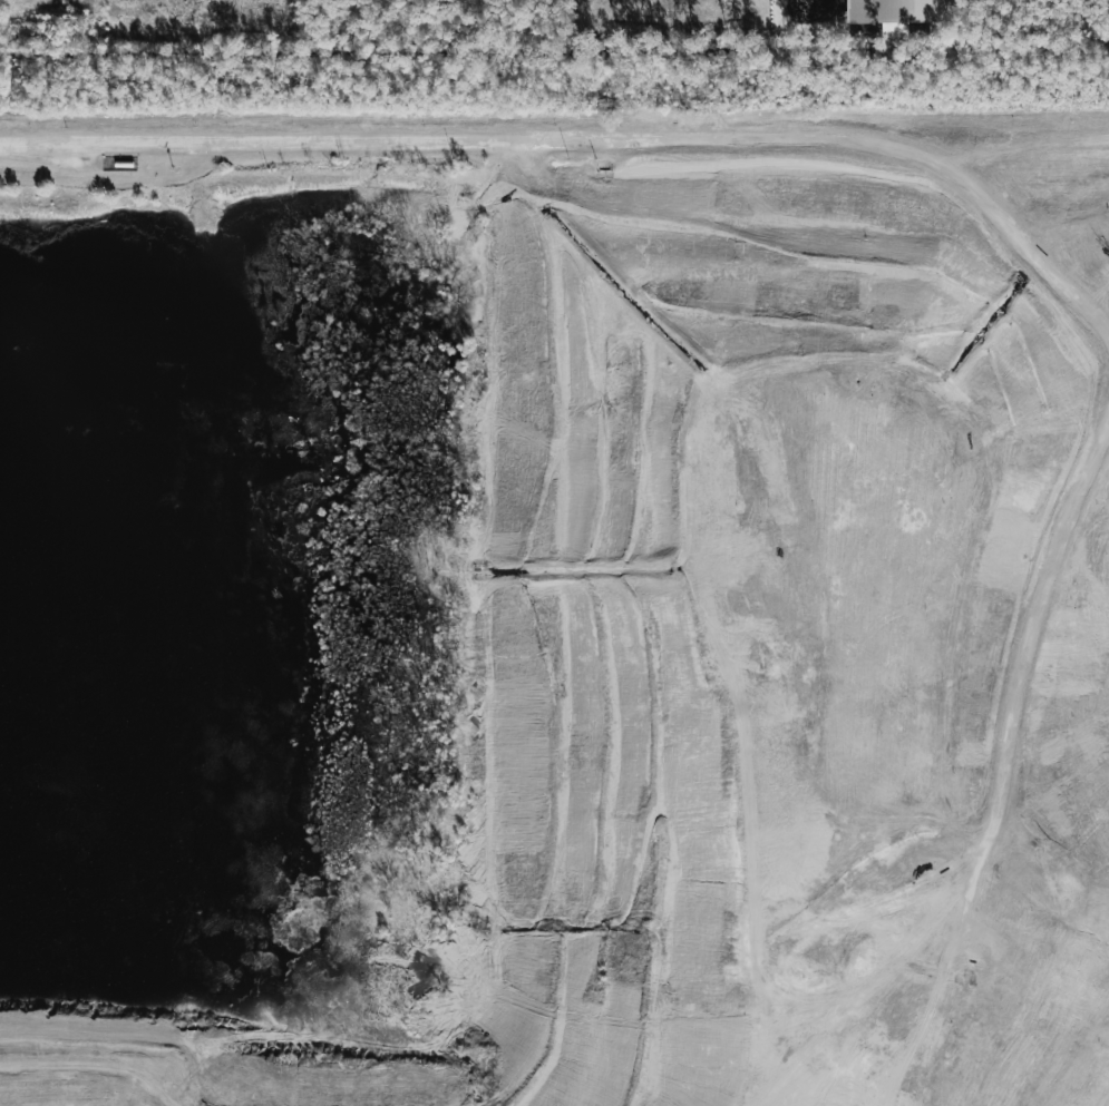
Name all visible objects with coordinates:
building: (892, 13)
road: (554, 137)
landfill: (554, 607)

